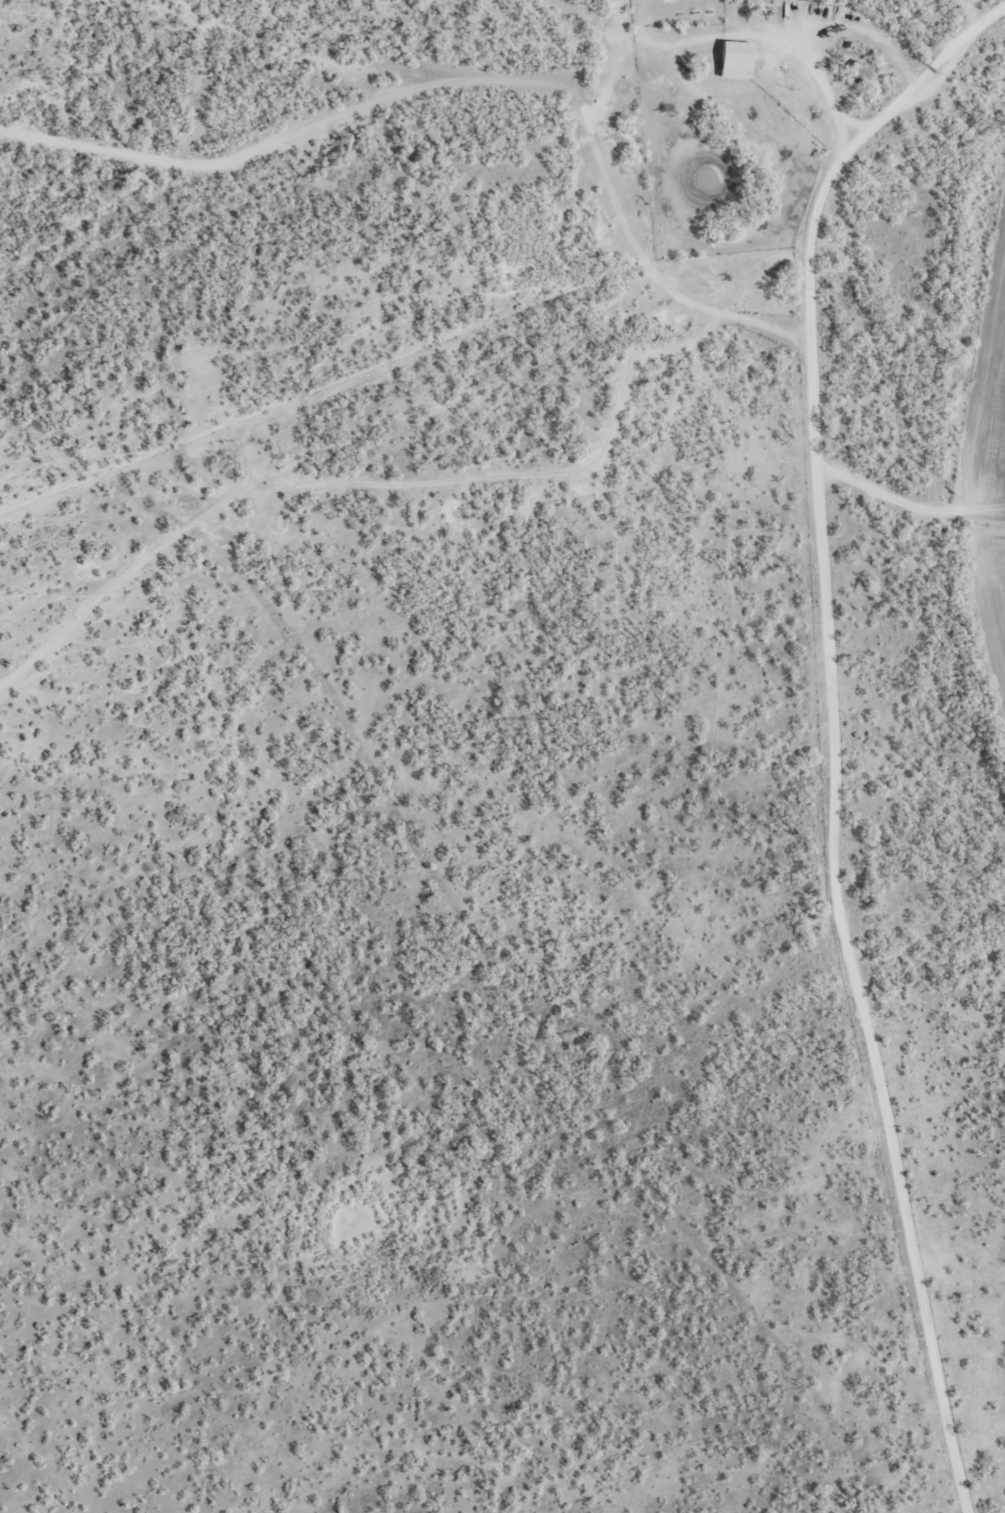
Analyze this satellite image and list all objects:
road: (249, 153)
road: (889, 643)

